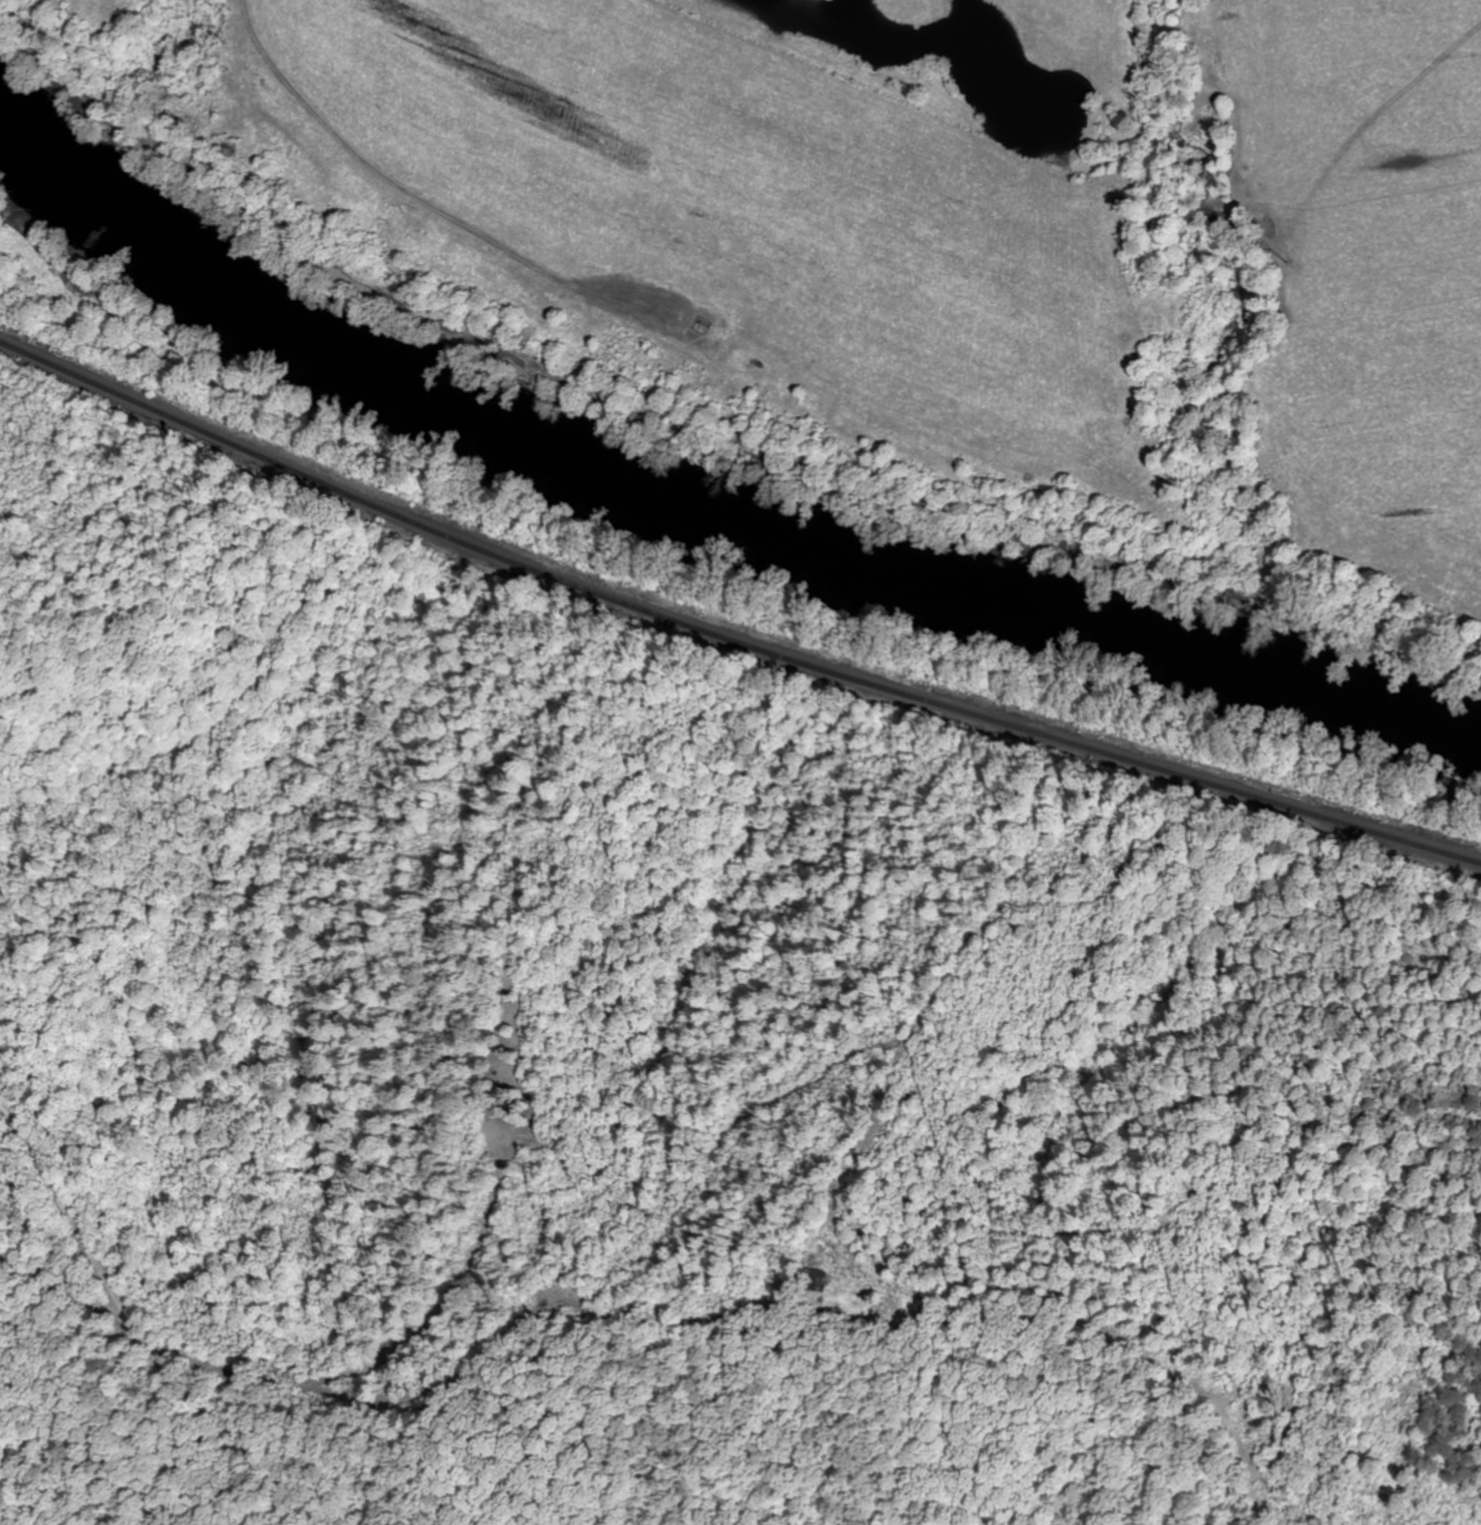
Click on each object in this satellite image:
river: (703, 481)
railway: (730, 632)
road: (42, 1251)
building: (811, 1280)
road: (143, 1334)

